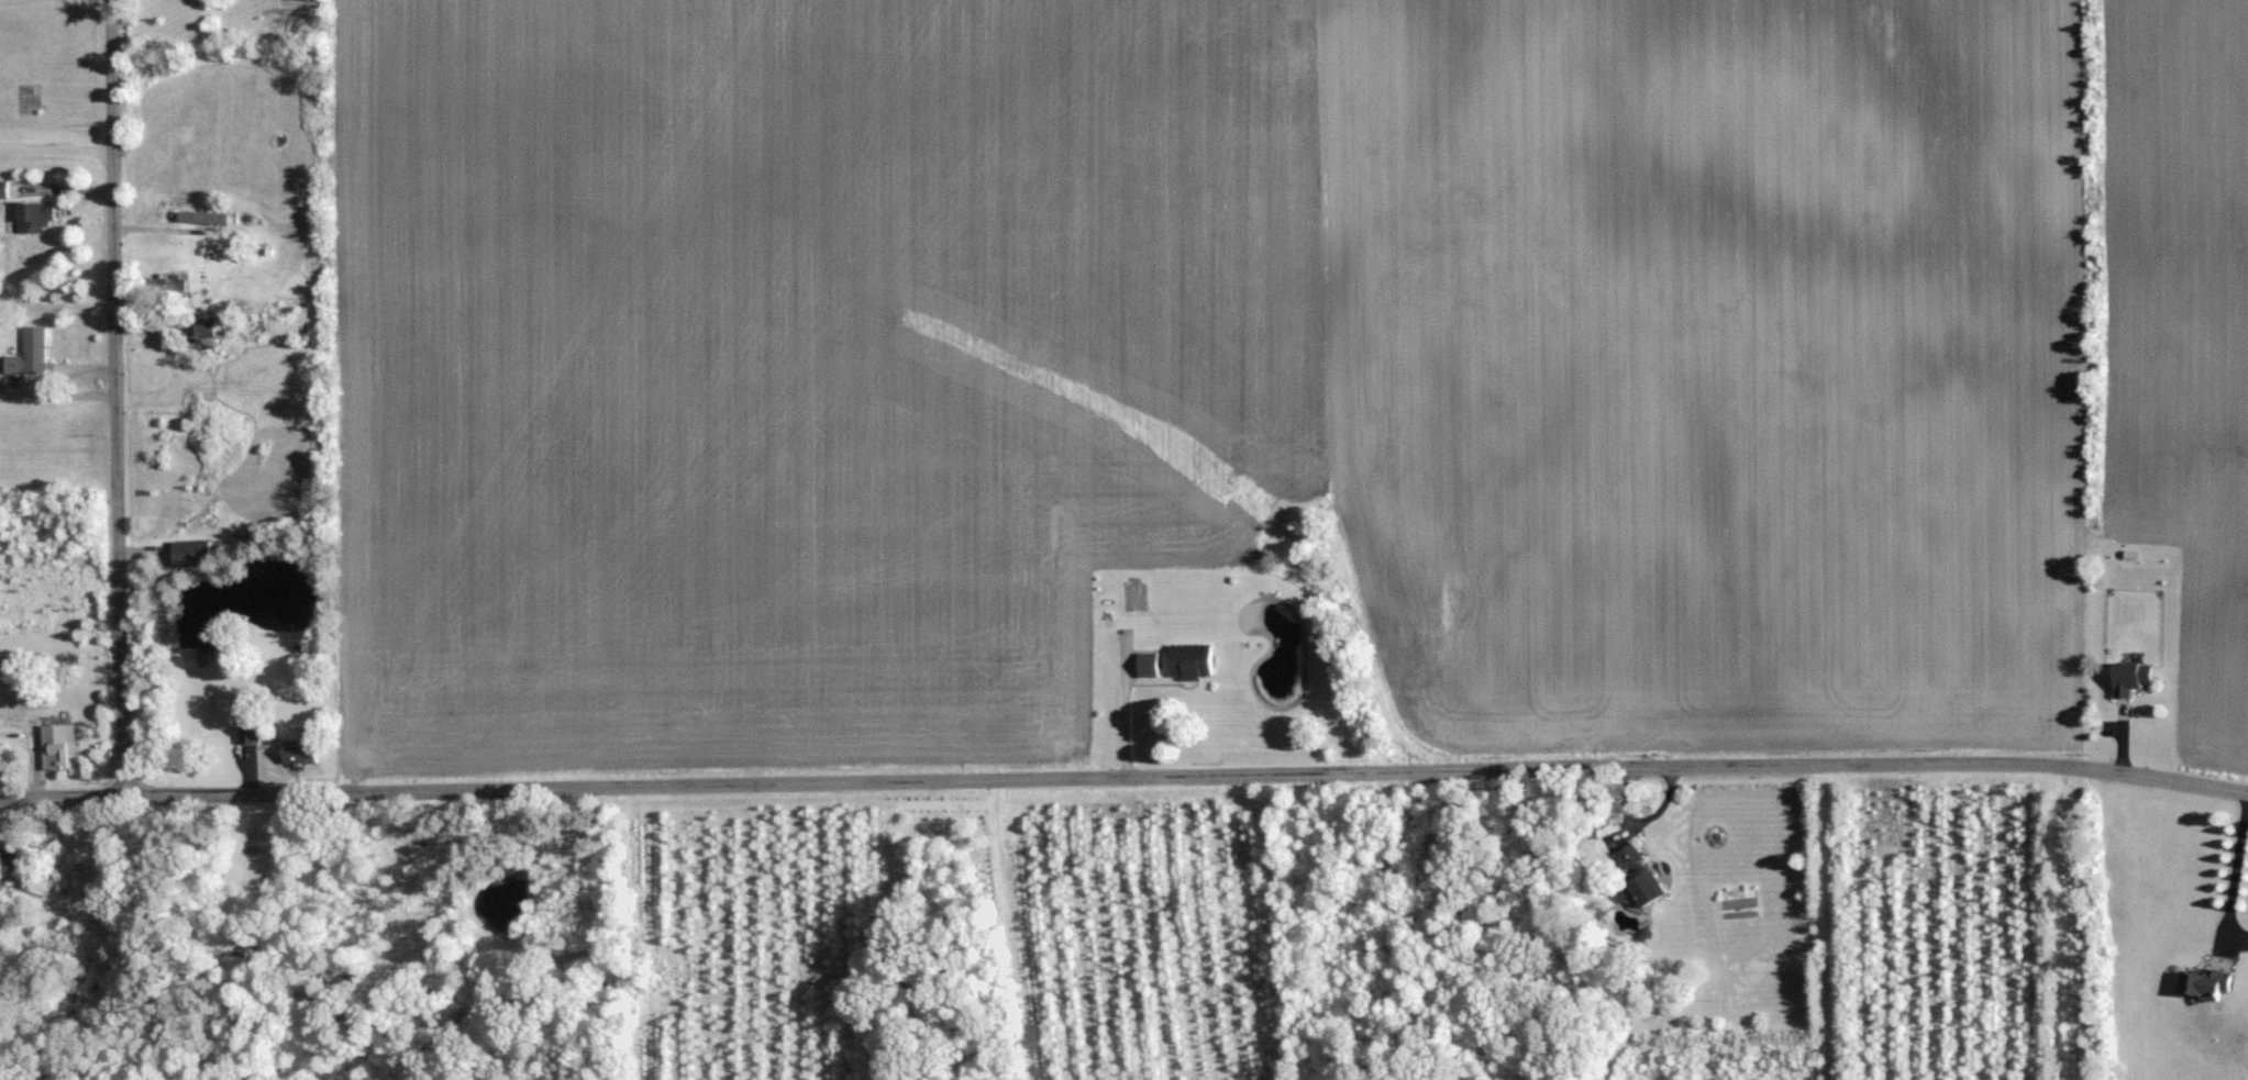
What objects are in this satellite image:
building: (31, 98)
road: (56, 136)
building: (5, 189)
building: (41, 216)
building: (210, 327)
building: (34, 352)
road: (57, 385)
road: (114, 398)
building: (196, 550)
building: (1199, 659)
building: (1152, 663)
building: (2135, 676)
road: (1123, 713)
building: (62, 744)
building: (306, 750)
road: (1125, 778)
road: (2235, 875)
building: (1655, 890)
building: (2207, 981)

